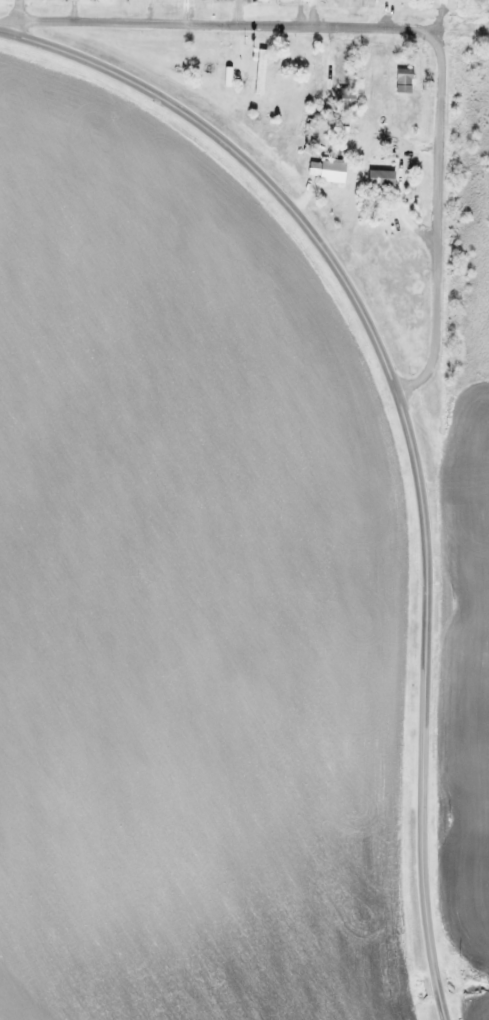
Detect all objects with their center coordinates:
road: (16, 9)
road: (216, 24)
building: (219, 60)
building: (283, 80)
building: (402, 80)
building: (328, 172)
building: (378, 178)
road: (433, 223)
road: (406, 427)

